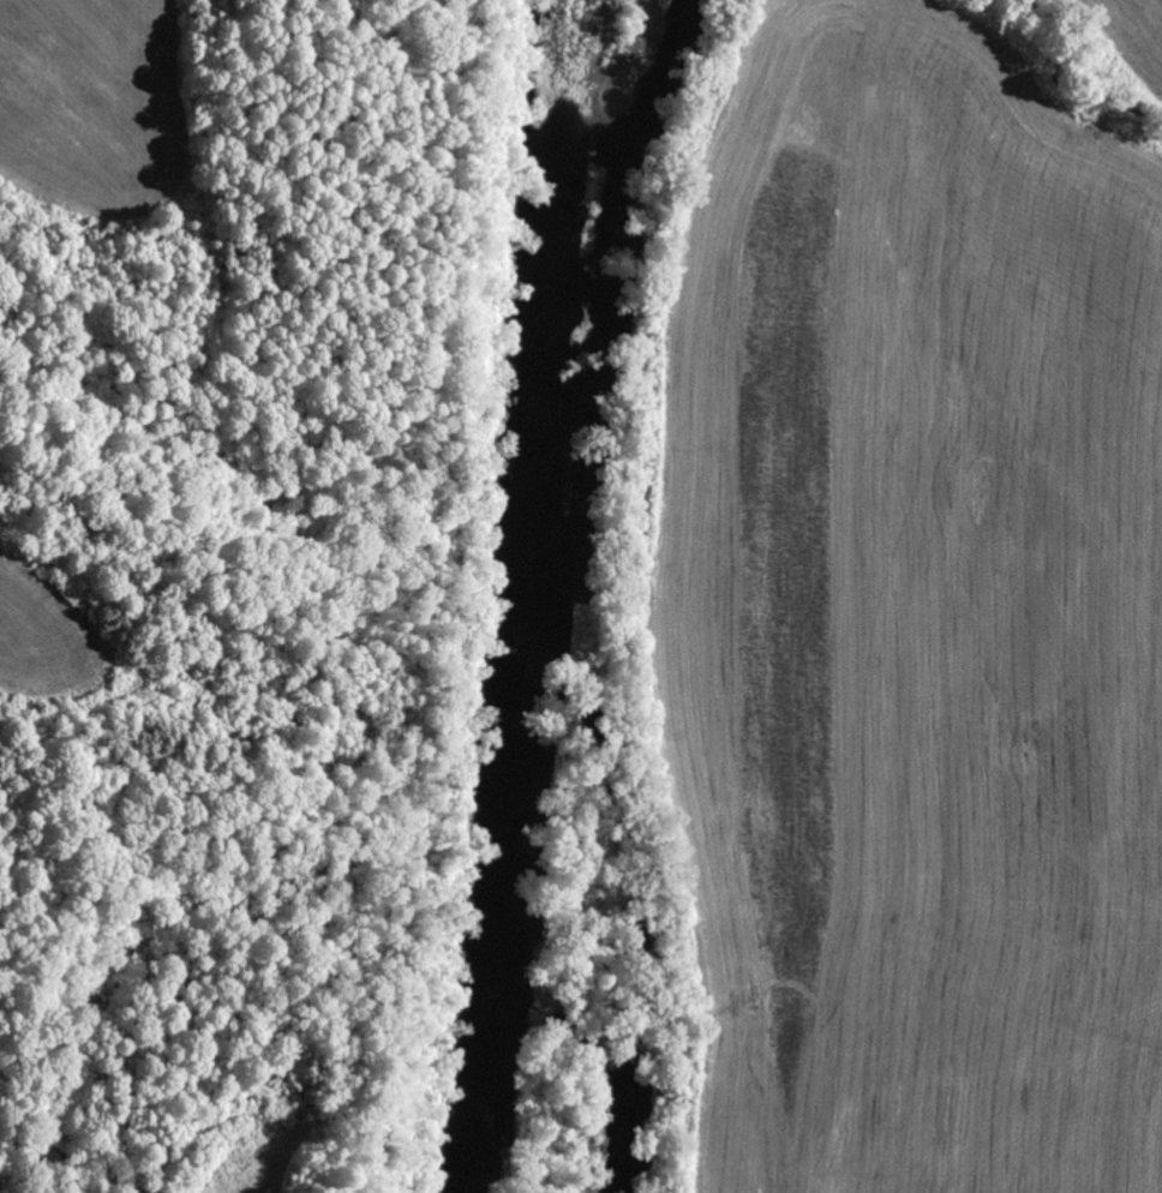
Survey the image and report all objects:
river: (526, 589)

